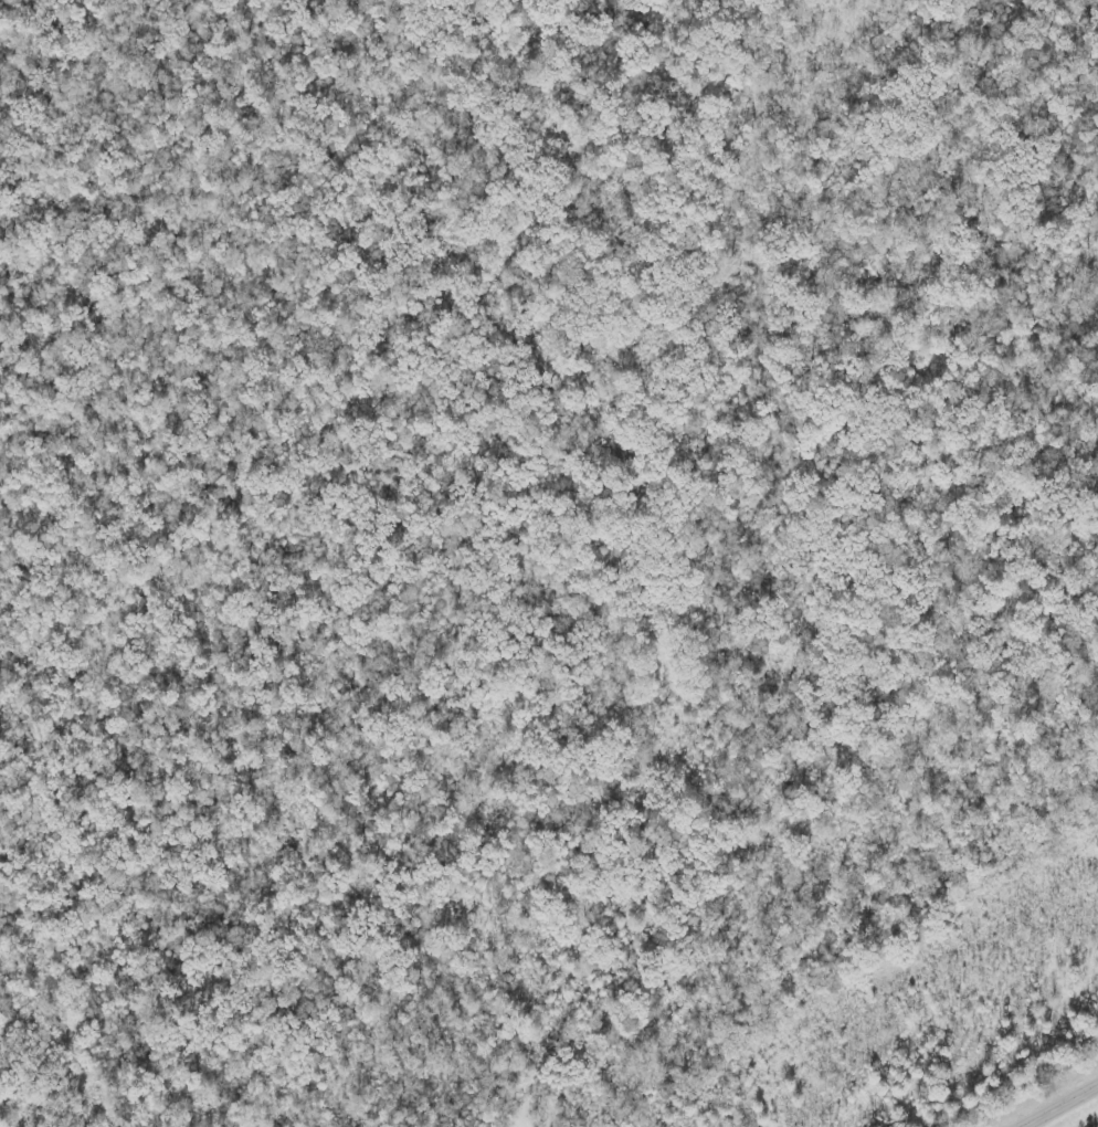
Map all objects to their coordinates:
road: (1068, 1110)

